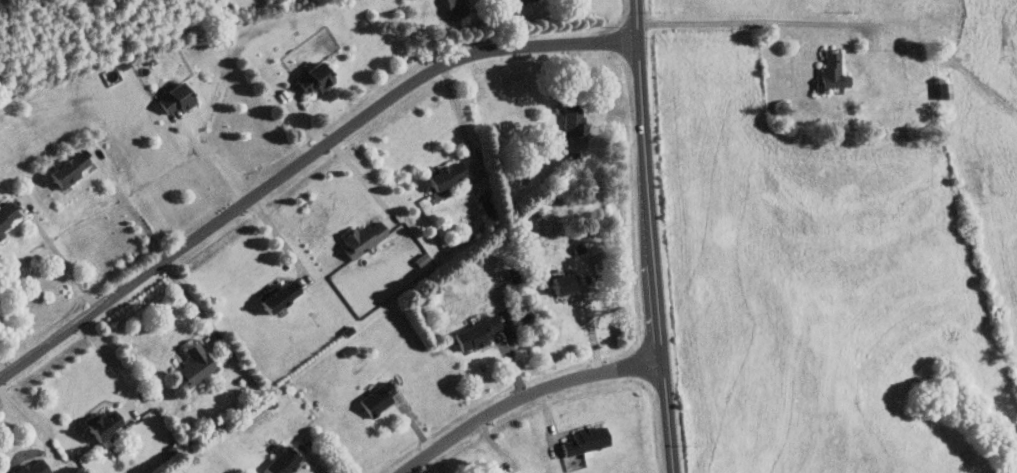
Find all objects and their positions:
building: (897, 4)
road: (792, 21)
building: (829, 73)
building: (309, 79)
building: (173, 98)
road: (459, 115)
building: (569, 119)
road: (212, 163)
road: (301, 165)
building: (65, 169)
building: (441, 175)
road: (363, 182)
road: (130, 205)
building: (7, 215)
road: (652, 236)
building: (359, 238)
road: (282, 241)
road: (61, 257)
building: (558, 284)
building: (274, 296)
road: (197, 306)
road: (591, 326)
building: (474, 333)
building: (189, 367)
road: (114, 368)
road: (4, 371)
road: (525, 397)
building: (375, 398)
road: (31, 422)
building: (583, 440)
building: (279, 460)
building: (33, 467)
building: (514, 472)

